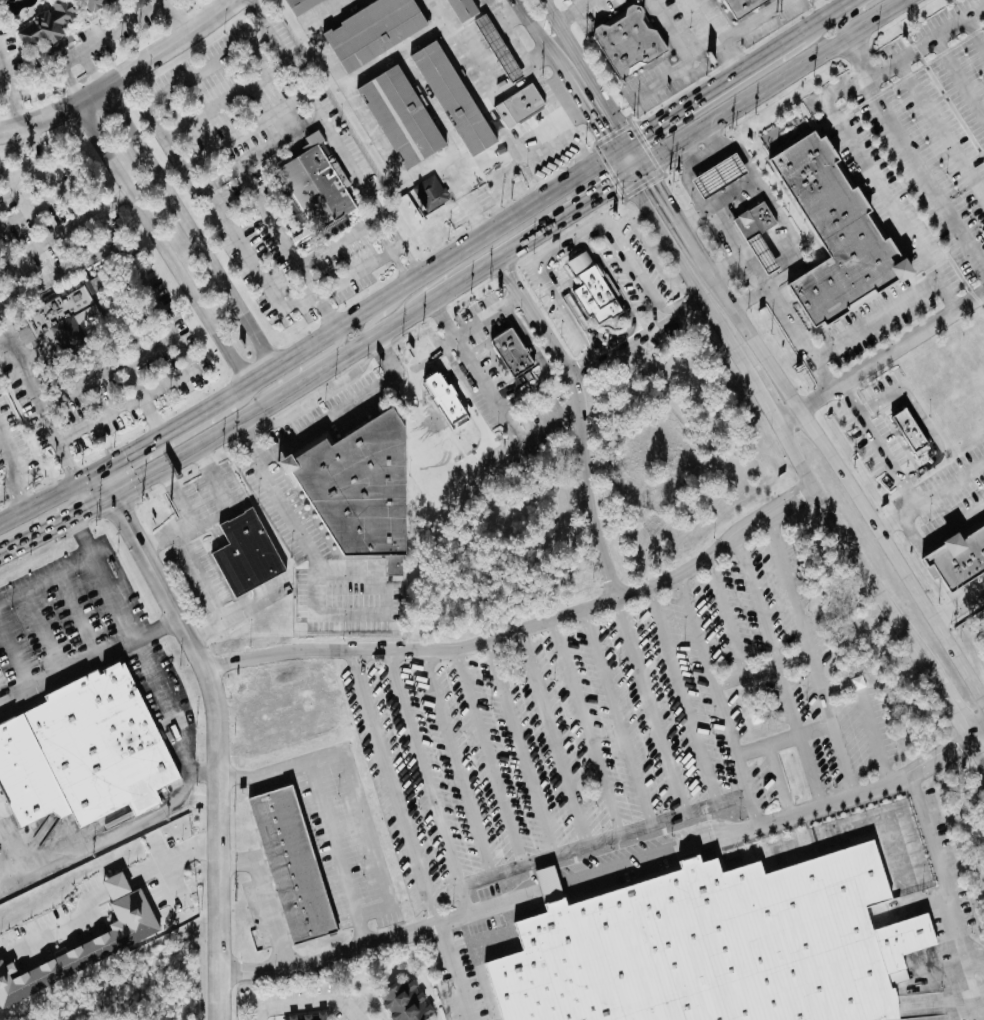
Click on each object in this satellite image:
road: (240, 1)
building: (94, 4)
building: (300, 6)
building: (740, 6)
road: (820, 8)
building: (461, 9)
road: (575, 11)
road: (851, 15)
road: (825, 16)
road: (180, 17)
road: (88, 18)
building: (48, 24)
road: (120, 24)
road: (674, 29)
building: (371, 31)
road: (975, 31)
road: (539, 33)
road: (719, 34)
building: (631, 41)
road: (924, 43)
road: (512, 45)
road: (710, 47)
building: (496, 48)
building: (464, 64)
road: (373, 66)
road: (92, 69)
road: (588, 69)
road: (68, 72)
road: (126, 75)
road: (414, 76)
road: (772, 81)
road: (957, 84)
road: (705, 92)
road: (10, 93)
road: (228, 97)
building: (451, 98)
building: (517, 106)
road: (368, 114)
building: (400, 116)
parking lot: (944, 118)
road: (593, 120)
road: (573, 128)
road: (249, 130)
road: (537, 130)
traffic signals: (645, 131)
road: (940, 132)
traffic signals: (602, 135)
road: (336, 139)
road: (27, 146)
road: (263, 152)
road: (911, 153)
road: (560, 156)
road: (187, 163)
road: (868, 172)
building: (722, 175)
gas station: (722, 175)
road: (48, 178)
building: (317, 184)
traffic signals: (612, 184)
traffic signals: (657, 185)
building: (429, 192)
road: (132, 195)
road: (669, 205)
road: (775, 209)
road: (710, 213)
road: (475, 214)
road: (692, 215)
road: (268, 216)
building: (755, 221)
road: (190, 227)
road: (65, 230)
building: (321, 231)
road: (536, 232)
building: (835, 236)
road: (570, 245)
road: (324, 249)
building: (765, 254)
gas station: (765, 254)
road: (509, 265)
road: (355, 269)
road: (498, 272)
road: (685, 273)
road: (59, 275)
road: (421, 278)
building: (590, 290)
road: (683, 307)
road: (325, 312)
road: (378, 317)
road: (441, 319)
building: (63, 325)
road: (460, 333)
road: (849, 335)
road: (5, 336)
road: (218, 336)
road: (634, 341)
road: (387, 352)
building: (512, 353)
road: (180, 358)
road: (879, 361)
road: (303, 367)
road: (591, 371)
road: (821, 375)
road: (39, 397)
road: (762, 398)
road: (272, 401)
building: (452, 410)
road: (328, 416)
road: (153, 417)
road: (789, 417)
road: (507, 418)
road: (922, 419)
road: (583, 430)
building: (910, 430)
road: (152, 440)
road: (879, 447)
road: (12, 455)
traffic signals: (126, 455)
traffic signals: (68, 462)
road: (848, 484)
road: (7, 487)
road: (94, 488)
building: (361, 490)
road: (20, 495)
road: (225, 495)
road: (275, 495)
road: (931, 498)
road: (38, 500)
traffic signals: (85, 509)
traffic signals: (121, 513)
road: (55, 524)
road: (937, 531)
road: (81, 537)
road: (159, 543)
building: (249, 554)
road: (855, 557)
building: (959, 558)
road: (87, 560)
road: (645, 591)
road: (204, 592)
road: (757, 602)
road: (961, 608)
road: (330, 615)
road: (727, 618)
road: (204, 629)
road: (158, 631)
road: (327, 652)
road: (708, 665)
road: (761, 669)
road: (67, 675)
road: (293, 686)
road: (953, 708)
road: (688, 711)
building: (284, 713)
road: (652, 721)
road: (976, 726)
road: (622, 731)
road: (801, 735)
road: (277, 736)
road: (590, 741)
road: (876, 743)
road: (976, 743)
road: (220, 744)
road: (557, 751)
building: (82, 753)
road: (841, 760)
road: (524, 761)
road: (494, 770)
road: (810, 770)
road: (204, 776)
road: (460, 776)
road: (776, 779)
road: (428, 781)
road: (389, 787)
road: (746, 787)
road: (177, 796)
road: (325, 810)
road: (707, 837)
road: (175, 858)
building: (289, 864)
road: (22, 865)
building: (115, 885)
road: (268, 899)
road: (916, 910)
building: (717, 947)
building: (83, 950)
road: (330, 954)
road: (452, 971)
road: (313, 999)
building: (408, 1003)
road: (258, 1016)
building: (312, 1017)

